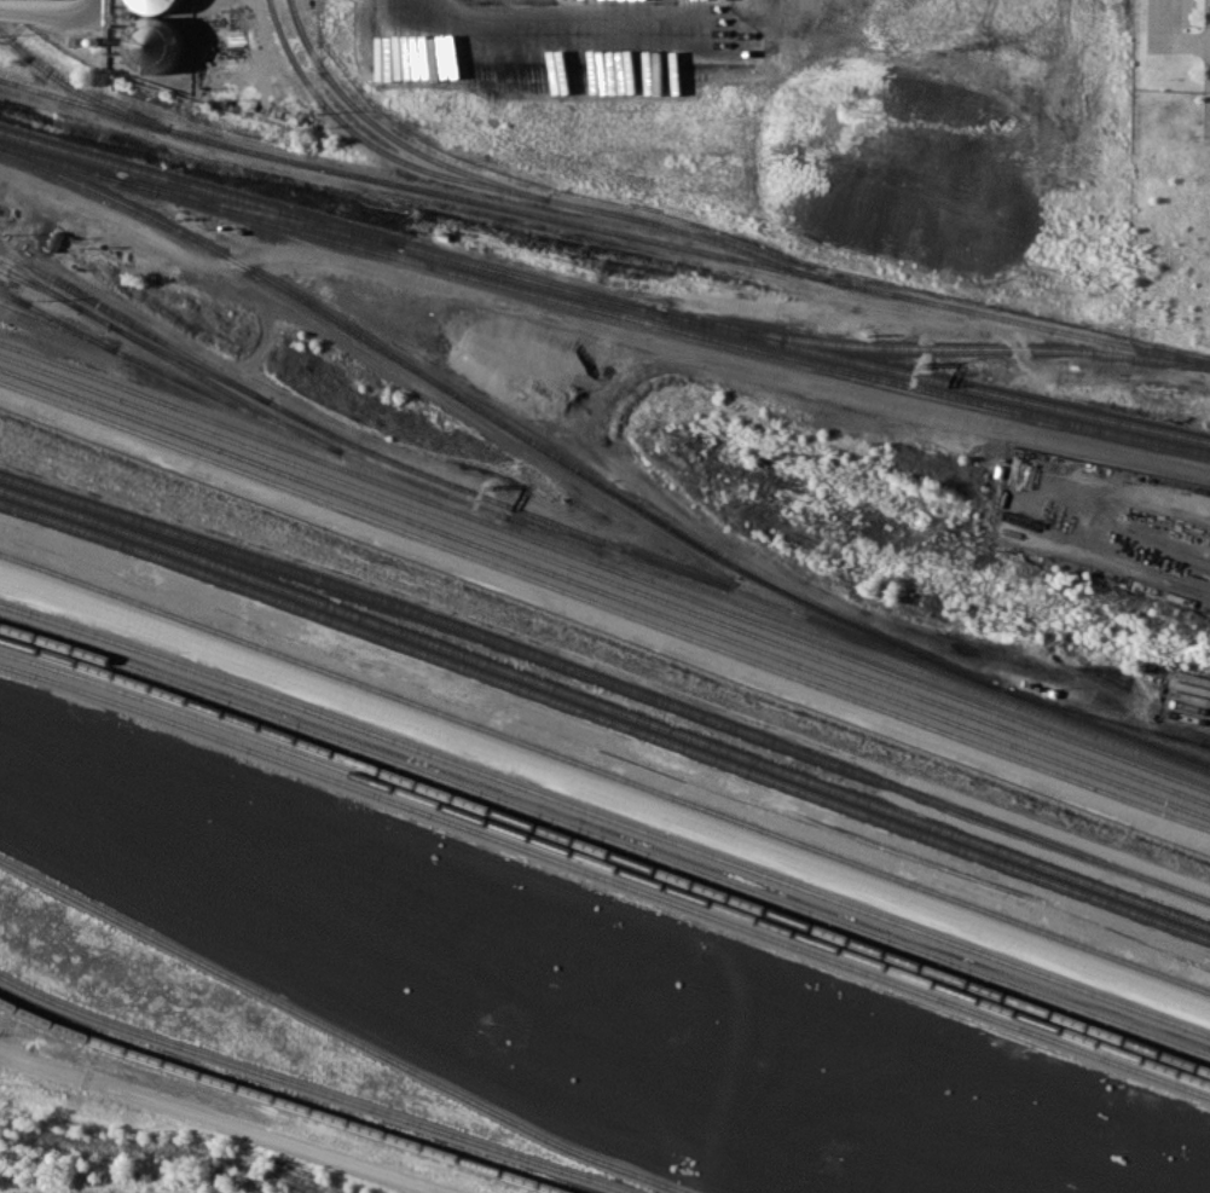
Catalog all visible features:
building: (156, 5)
road: (546, 15)
parking lot: (1170, 24)
road: (1173, 36)
building: (154, 44)
railway: (76, 89)
railway: (390, 134)
railway: (511, 190)
railway: (257, 209)
railway: (603, 228)
railway: (39, 288)
railway: (13, 296)
railway: (601, 296)
railway: (602, 309)
railway: (56, 319)
road: (457, 324)
railway: (934, 346)
railway: (189, 361)
railway: (170, 377)
railway: (496, 418)
railway: (591, 537)
railway: (591, 550)
railway: (615, 552)
railway: (604, 567)
railway: (604, 580)
railway: (604, 592)
railway: (604, 604)
road: (604, 620)
railway: (469, 632)
railway: (604, 707)
railway: (1108, 719)
railway: (604, 720)
railway: (1204, 743)
railway: (606, 769)
road: (607, 789)
railway: (606, 816)
railway: (606, 835)
railway: (606, 850)
railway: (1071, 851)
railway: (604, 863)
railway: (606, 876)
railway: (341, 1033)
railway: (318, 1088)
railway: (282, 1100)
road: (220, 1122)

